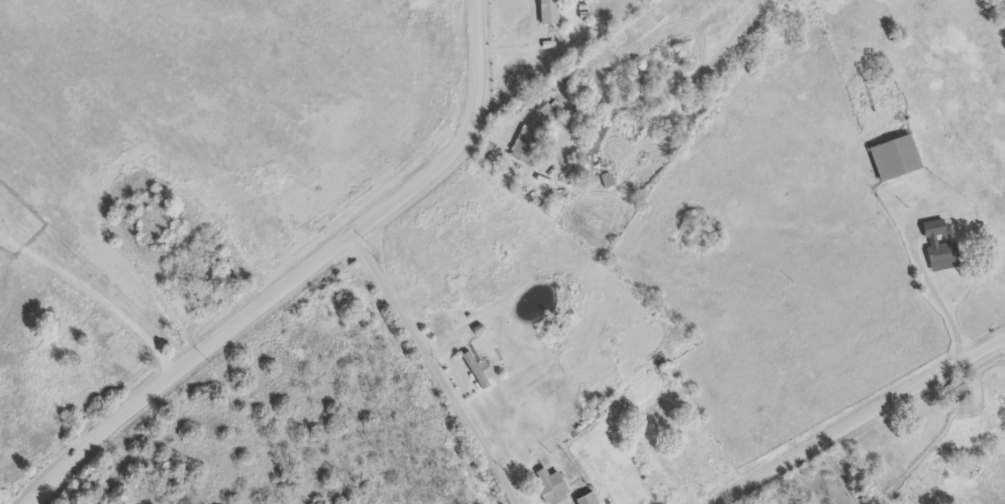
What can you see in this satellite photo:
building: (549, 11)
road: (456, 137)
building: (527, 144)
building: (896, 157)
building: (531, 189)
building: (939, 245)
road: (927, 272)
road: (152, 275)
road: (94, 288)
road: (178, 363)
road: (437, 365)
road: (848, 414)
building: (658, 419)
building: (560, 487)

